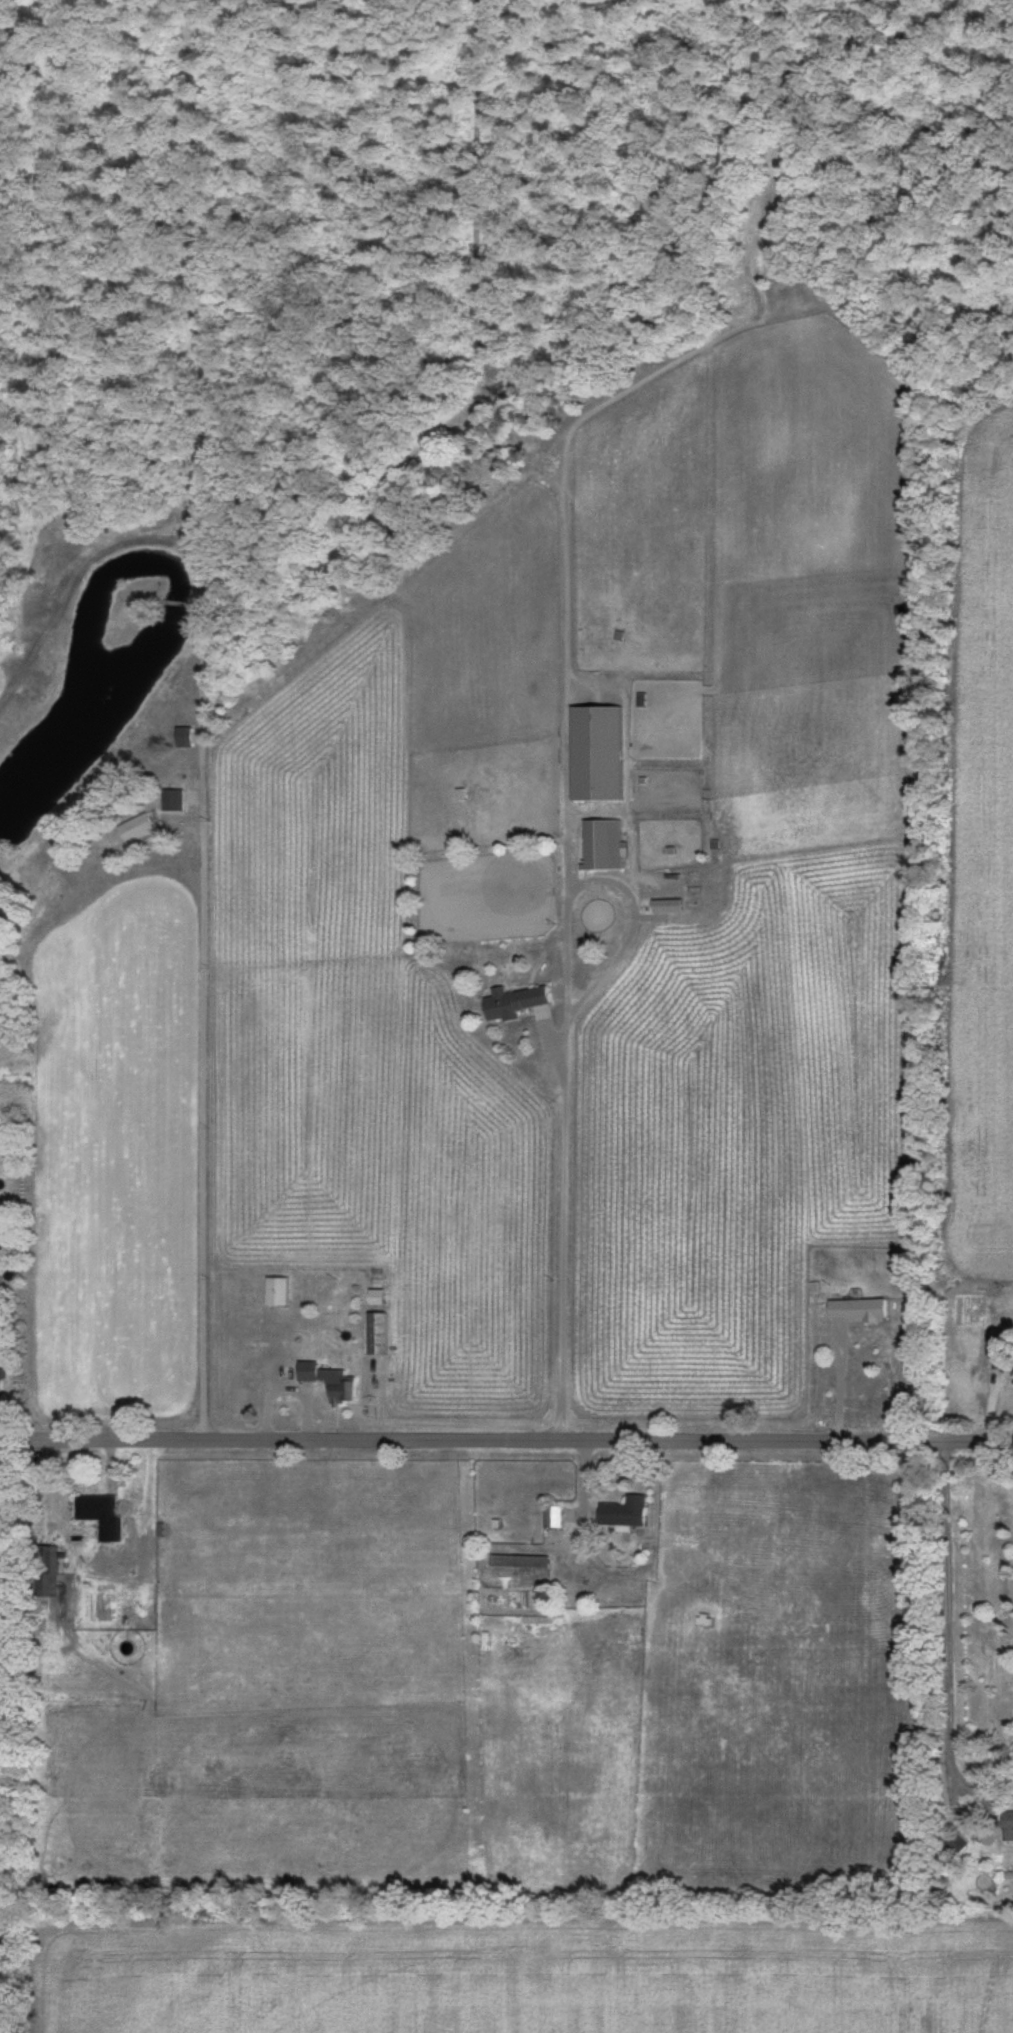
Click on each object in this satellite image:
road: (565, 1063)
road: (216, 1120)
road: (840, 1386)
road: (506, 1444)
road: (931, 1609)

